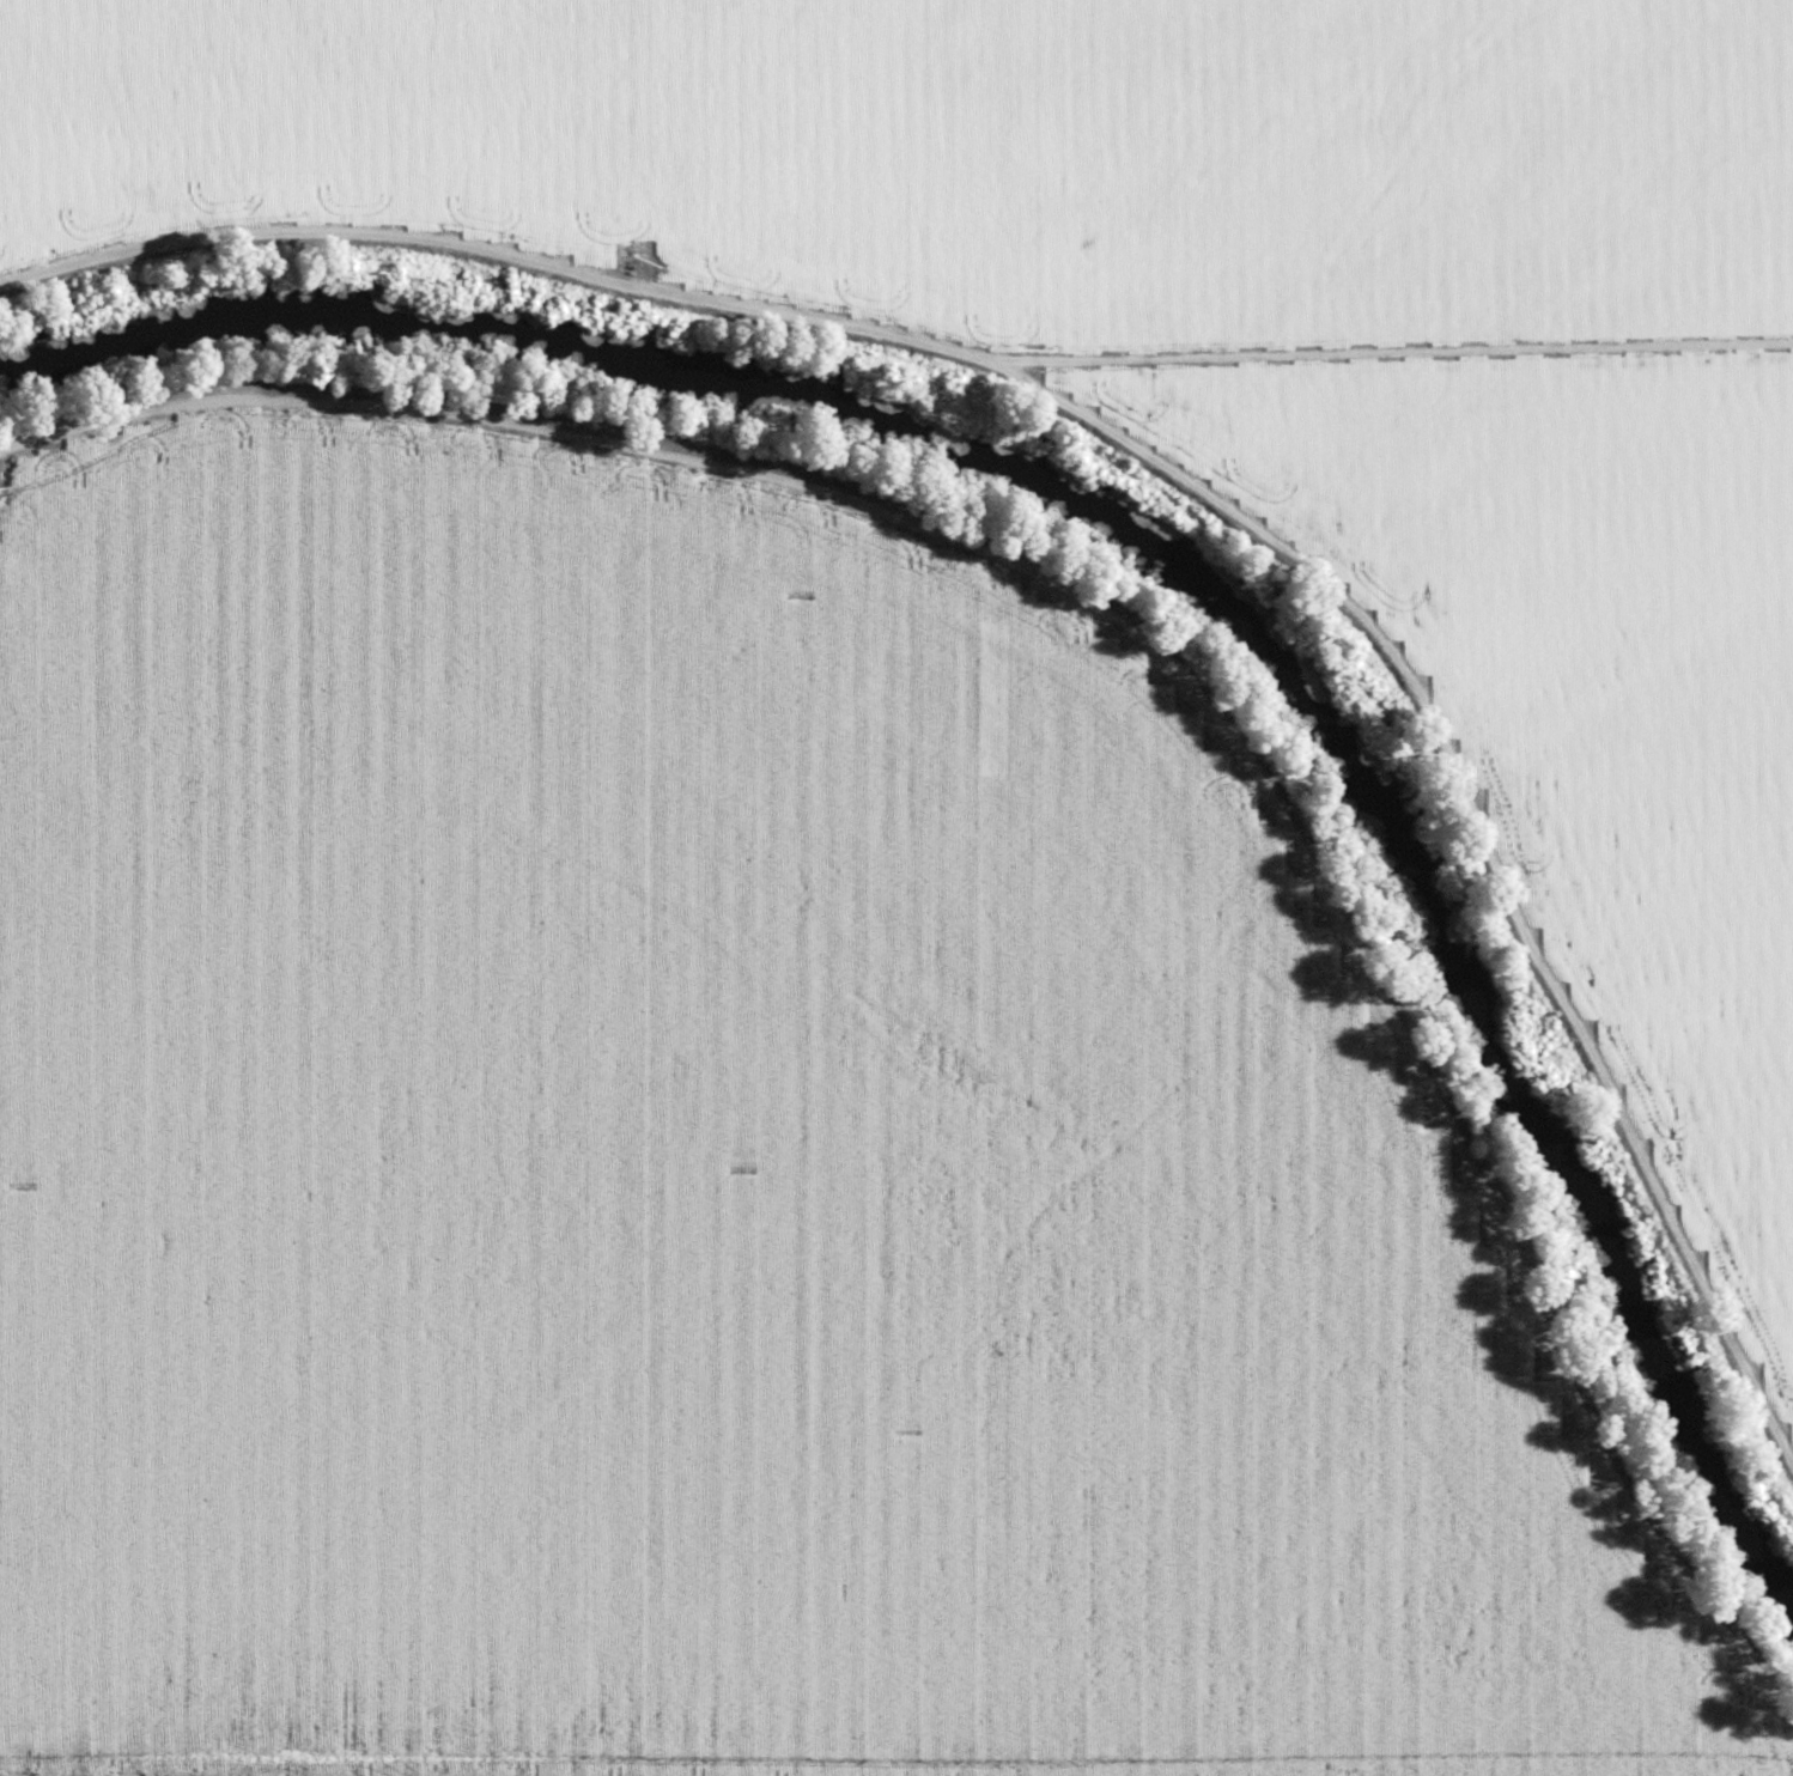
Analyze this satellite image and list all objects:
road: (1165, 464)
river: (1145, 577)
road: (1161, 671)
road: (45, 1770)
road: (14, 1772)
road: (309, 1772)

